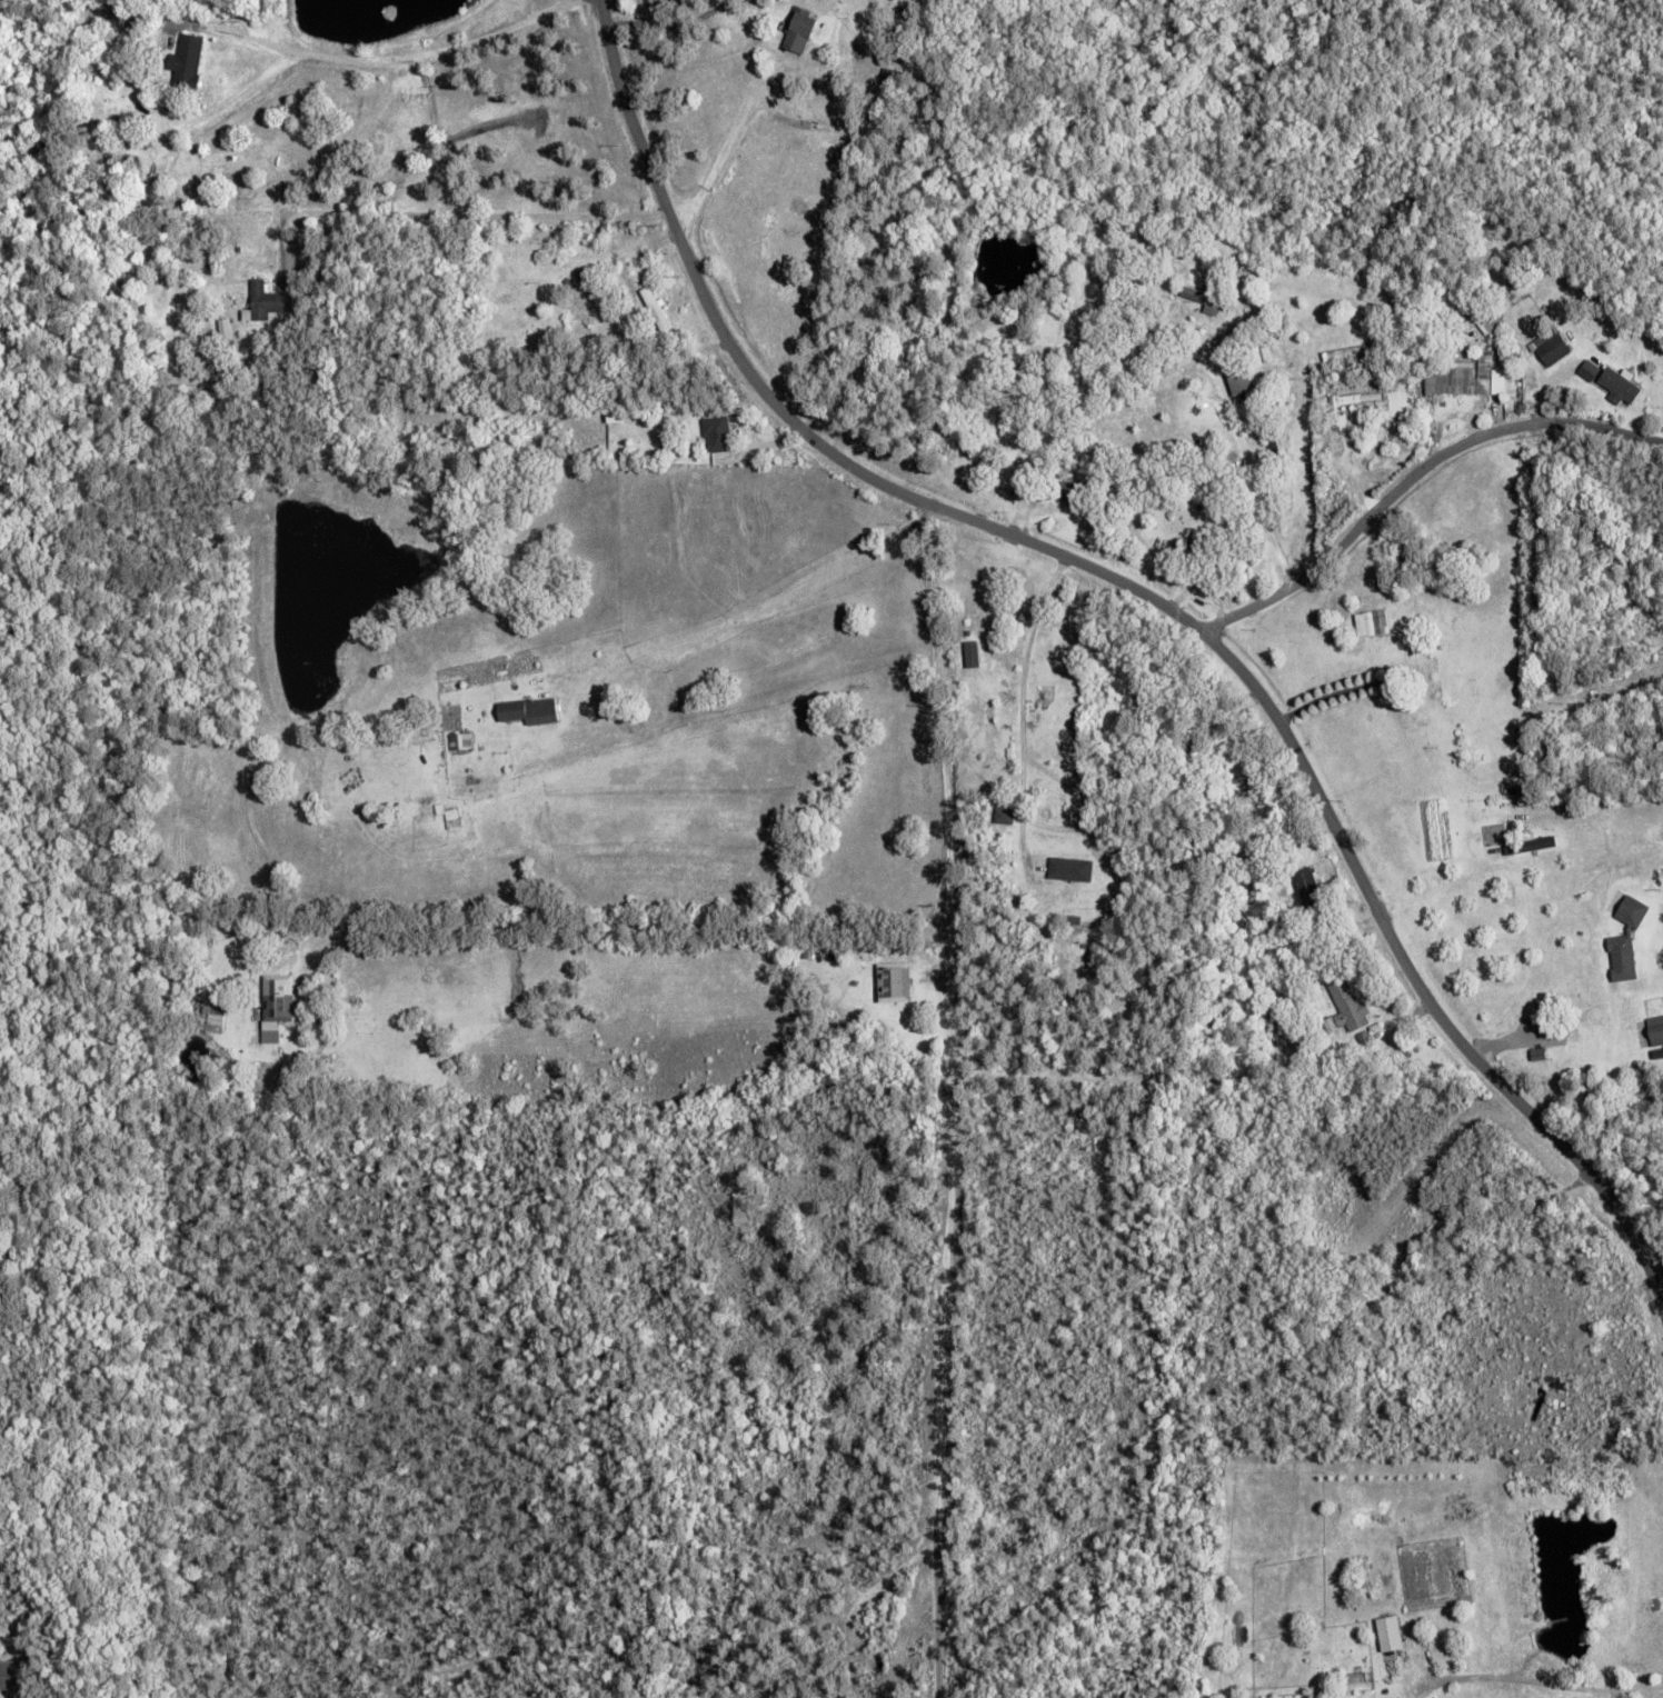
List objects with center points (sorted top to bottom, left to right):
building: (139, 19)
building: (800, 29)
road: (395, 56)
building: (188, 61)
building: (895, 77)
building: (882, 96)
building: (169, 108)
building: (125, 131)
building: (117, 190)
building: (159, 194)
building: (1514, 293)
building: (1208, 299)
building: (269, 301)
building: (657, 307)
building: (1490, 324)
building: (226, 328)
building: (1456, 332)
building: (1554, 346)
building: (1352, 351)
building: (1590, 370)
building: (1492, 374)
building: (1453, 378)
building: (1243, 381)
building: (1622, 384)
building: (1350, 388)
building: (220, 394)
building: (1483, 406)
building: (616, 417)
building: (460, 419)
building: (1336, 421)
building: (1397, 427)
building: (719, 432)
building: (1274, 442)
building: (1027, 467)
road: (1415, 479)
building: (1065, 490)
road: (555, 503)
building: (1201, 543)
road: (1158, 601)
building: (1373, 621)
building: (973, 650)
building: (565, 661)
building: (1444, 678)
building: (1473, 687)
building: (519, 692)
building: (1614, 707)
building: (528, 708)
building: (460, 740)
building: (1006, 815)
building: (454, 822)
building: (1531, 843)
building: (1072, 869)
building: (1312, 890)
road: (826, 920)
building: (1273, 923)
building: (1626, 936)
building: (316, 971)
building: (896, 981)
building: (1374, 983)
building: (280, 1000)
building: (1350, 1006)
building: (1382, 1011)
building: (213, 1018)
building: (1386, 1025)
building: (1656, 1030)
building: (1285, 1031)
building: (1540, 1053)
building: (1659, 1053)
building: (1263, 1055)
building: (1354, 1066)
road: (869, 1110)
road: (945, 1223)
building: (1366, 1578)
road: (935, 1612)
building: (1388, 1632)
building: (1390, 1697)

